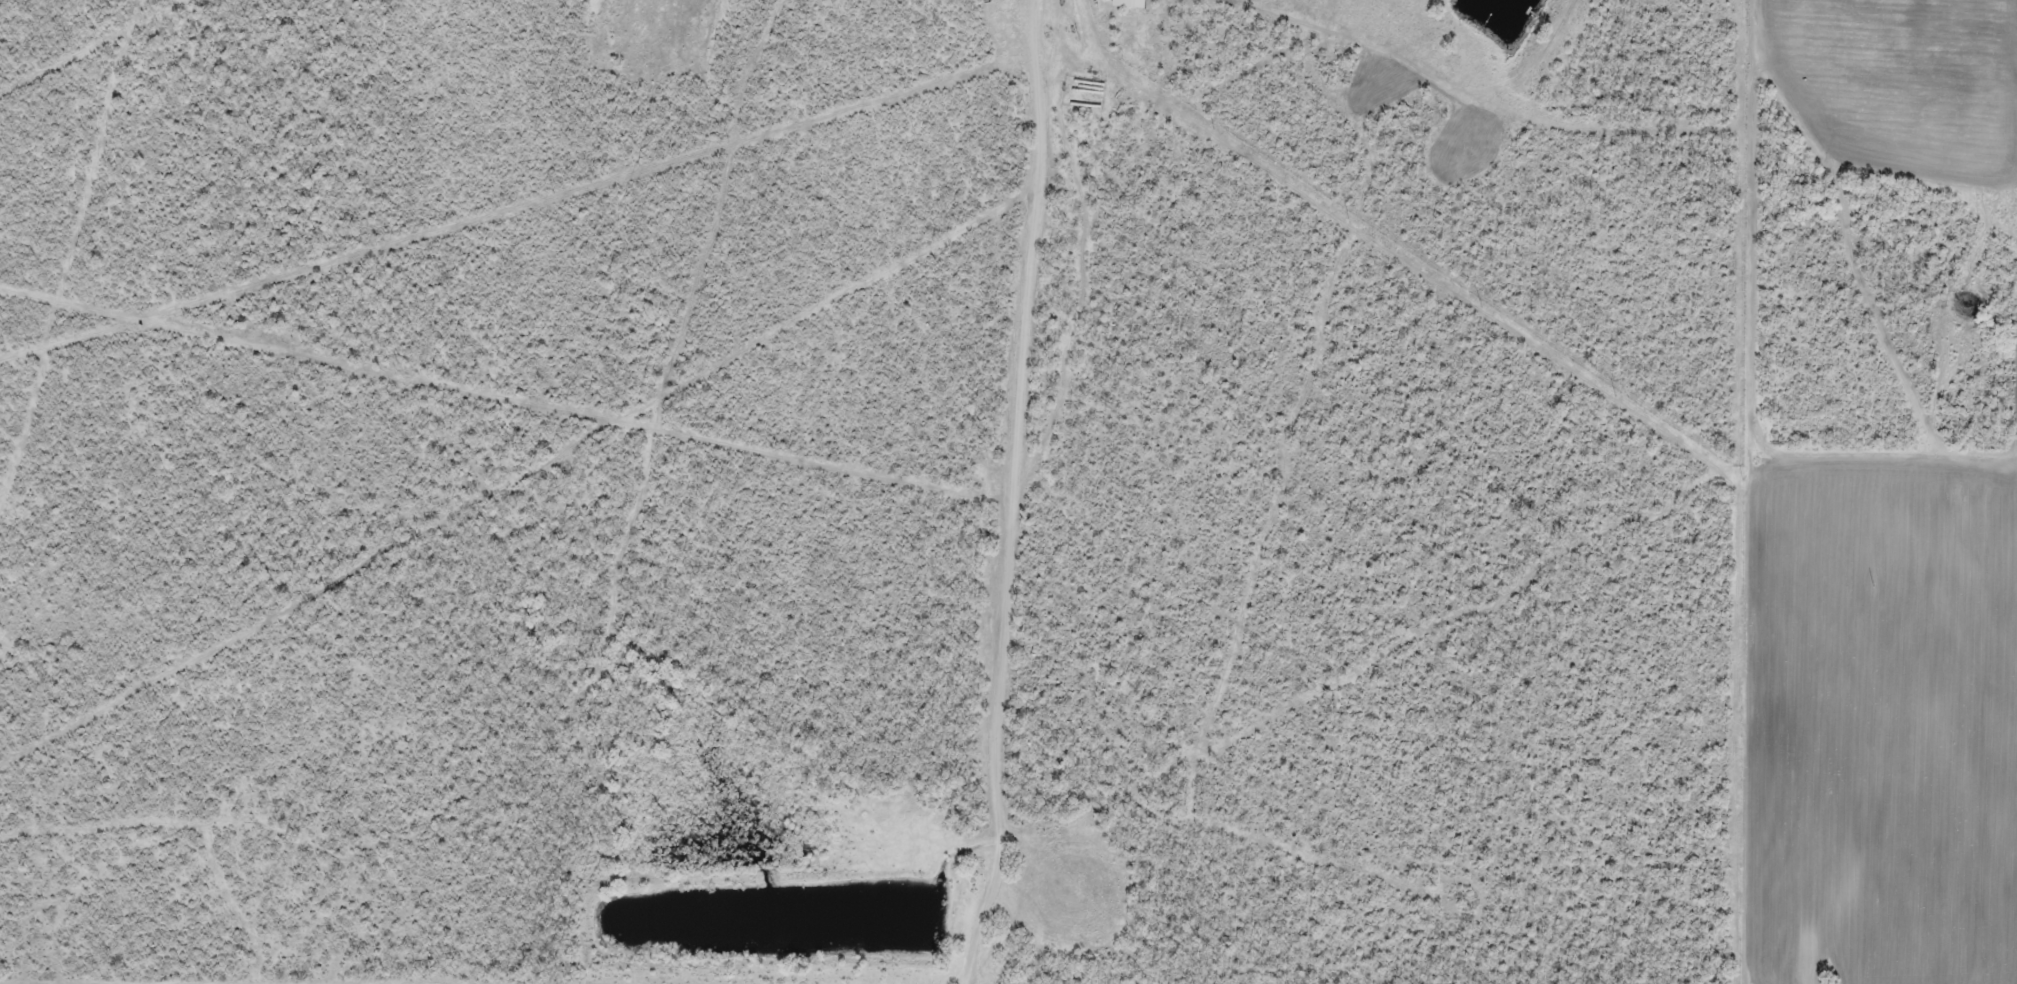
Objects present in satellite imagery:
road: (1014, 494)

